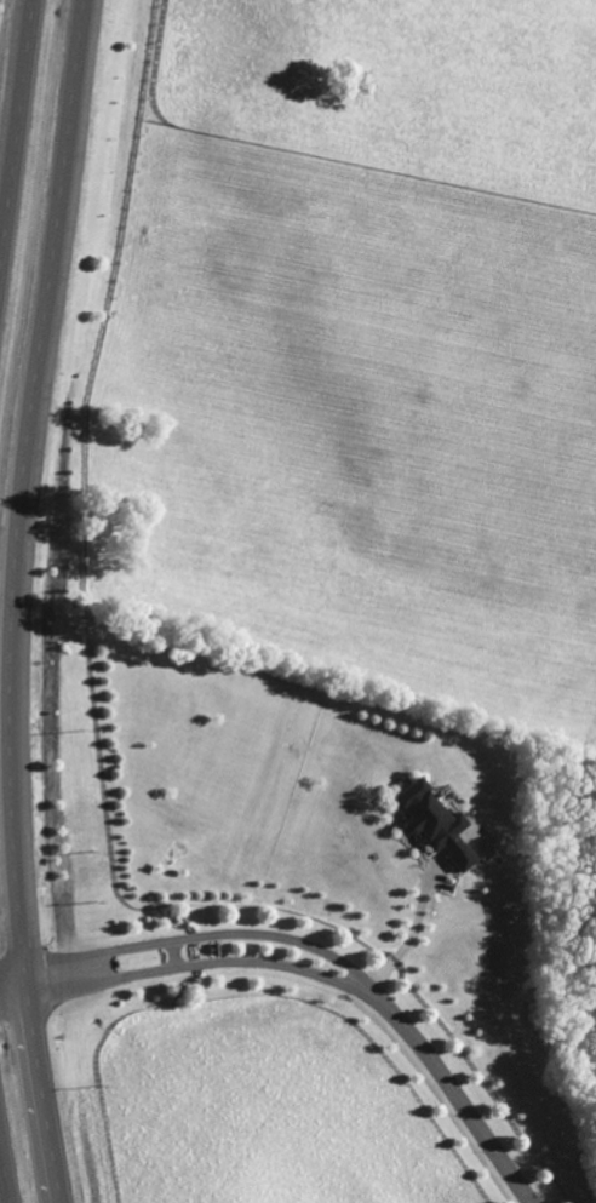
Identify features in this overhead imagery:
road: (79, 4)
road: (15, 121)
road: (11, 605)
building: (432, 823)
road: (201, 934)
road: (399, 939)
road: (172, 953)
road: (195, 964)
road: (462, 1100)
road: (4, 1175)

